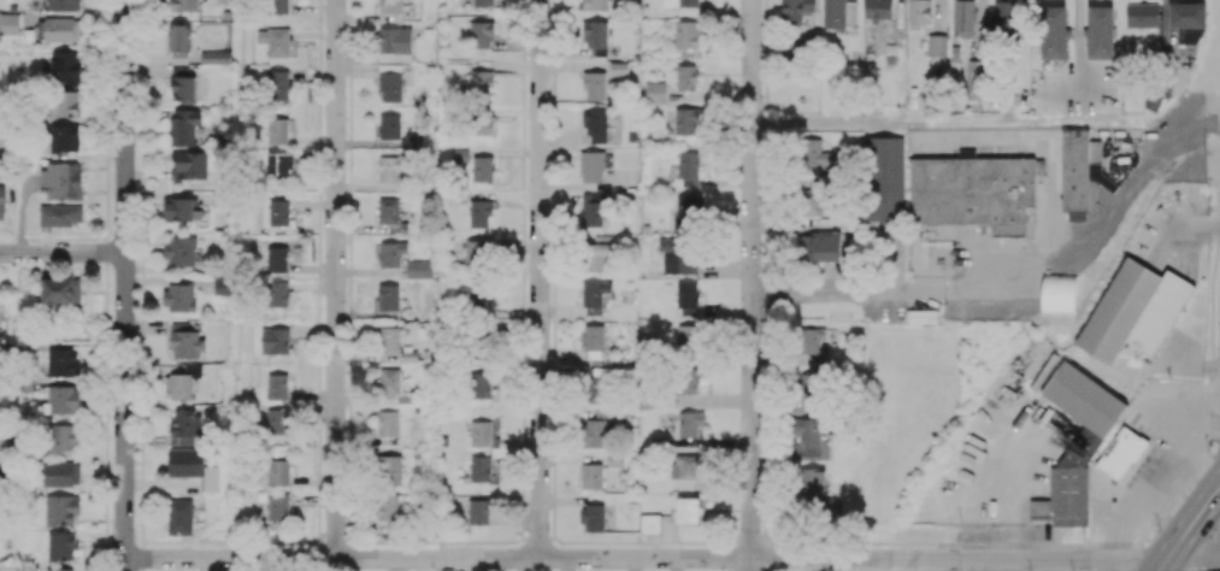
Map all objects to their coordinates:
building: (483, 2)
building: (680, 4)
building: (64, 5)
building: (184, 5)
building: (595, 5)
building: (278, 6)
building: (390, 6)
building: (877, 10)
building: (795, 11)
building: (919, 12)
building: (837, 13)
building: (1142, 14)
building: (1004, 16)
building: (963, 17)
building: (1186, 20)
building: (8, 23)
building: (60, 28)
building: (1053, 31)
building: (1100, 31)
building: (481, 34)
building: (595, 36)
building: (686, 37)
road: (1075, 37)
building: (179, 39)
building: (395, 40)
building: (273, 41)
building: (937, 45)
building: (212, 57)
building: (65, 66)
building: (389, 66)
building: (618, 67)
building: (686, 77)
building: (974, 80)
building: (182, 82)
building: (277, 84)
building: (481, 84)
building: (594, 84)
building: (390, 86)
building: (654, 92)
building: (65, 102)
building: (685, 119)
building: (481, 123)
building: (595, 123)
building: (183, 125)
building: (389, 125)
building: (277, 130)
building: (64, 137)
building: (413, 140)
building: (459, 154)
building: (814, 155)
building: (189, 164)
building: (688, 164)
building: (279, 165)
building: (393, 166)
building: (591, 166)
building: (482, 167)
building: (1082, 173)
building: (885, 178)
building: (60, 179)
building: (972, 192)
building: (811, 201)
building: (1, 202)
building: (181, 210)
building: (593, 210)
building: (685, 210)
building: (278, 212)
building: (479, 212)
building: (390, 213)
building: (60, 214)
building: (820, 246)
building: (179, 249)
road: (63, 252)
building: (597, 252)
building: (391, 253)
building: (476, 253)
building: (677, 254)
building: (277, 258)
building: (419, 269)
road: (752, 278)
road: (335, 279)
road: (540, 279)
road: (124, 285)
building: (223, 285)
building: (61, 290)
building: (1059, 292)
building: (277, 293)
road: (808, 295)
building: (179, 296)
building: (388, 296)
building: (595, 298)
building: (686, 298)
building: (477, 301)
building: (1133, 310)
building: (387, 339)
building: (689, 339)
building: (593, 340)
building: (273, 341)
building: (184, 342)
building: (812, 347)
building: (63, 361)
building: (688, 381)
building: (390, 382)
building: (181, 383)
building: (481, 384)
building: (595, 384)
building: (276, 385)
building: (807, 389)
building: (61, 399)
building: (1084, 404)
building: (277, 420)
building: (387, 423)
building: (689, 423)
building: (184, 425)
building: (593, 432)
building: (483, 434)
building: (61, 438)
building: (809, 438)
building: (1120, 453)
building: (614, 459)
road: (1202, 461)
building: (193, 466)
building: (479, 467)
building: (389, 470)
building: (684, 470)
building: (278, 471)
building: (61, 473)
building: (591, 476)
road: (1160, 482)
building: (1068, 490)
road: (1013, 493)
building: (1038, 507)
building: (61, 508)
building: (278, 510)
building: (388, 510)
building: (688, 510)
road: (1169, 510)
building: (478, 511)
building: (179, 516)
building: (594, 517)
building: (650, 523)
road: (1189, 524)
road: (985, 558)
road: (436, 559)
road: (750, 564)
building: (60, 570)

